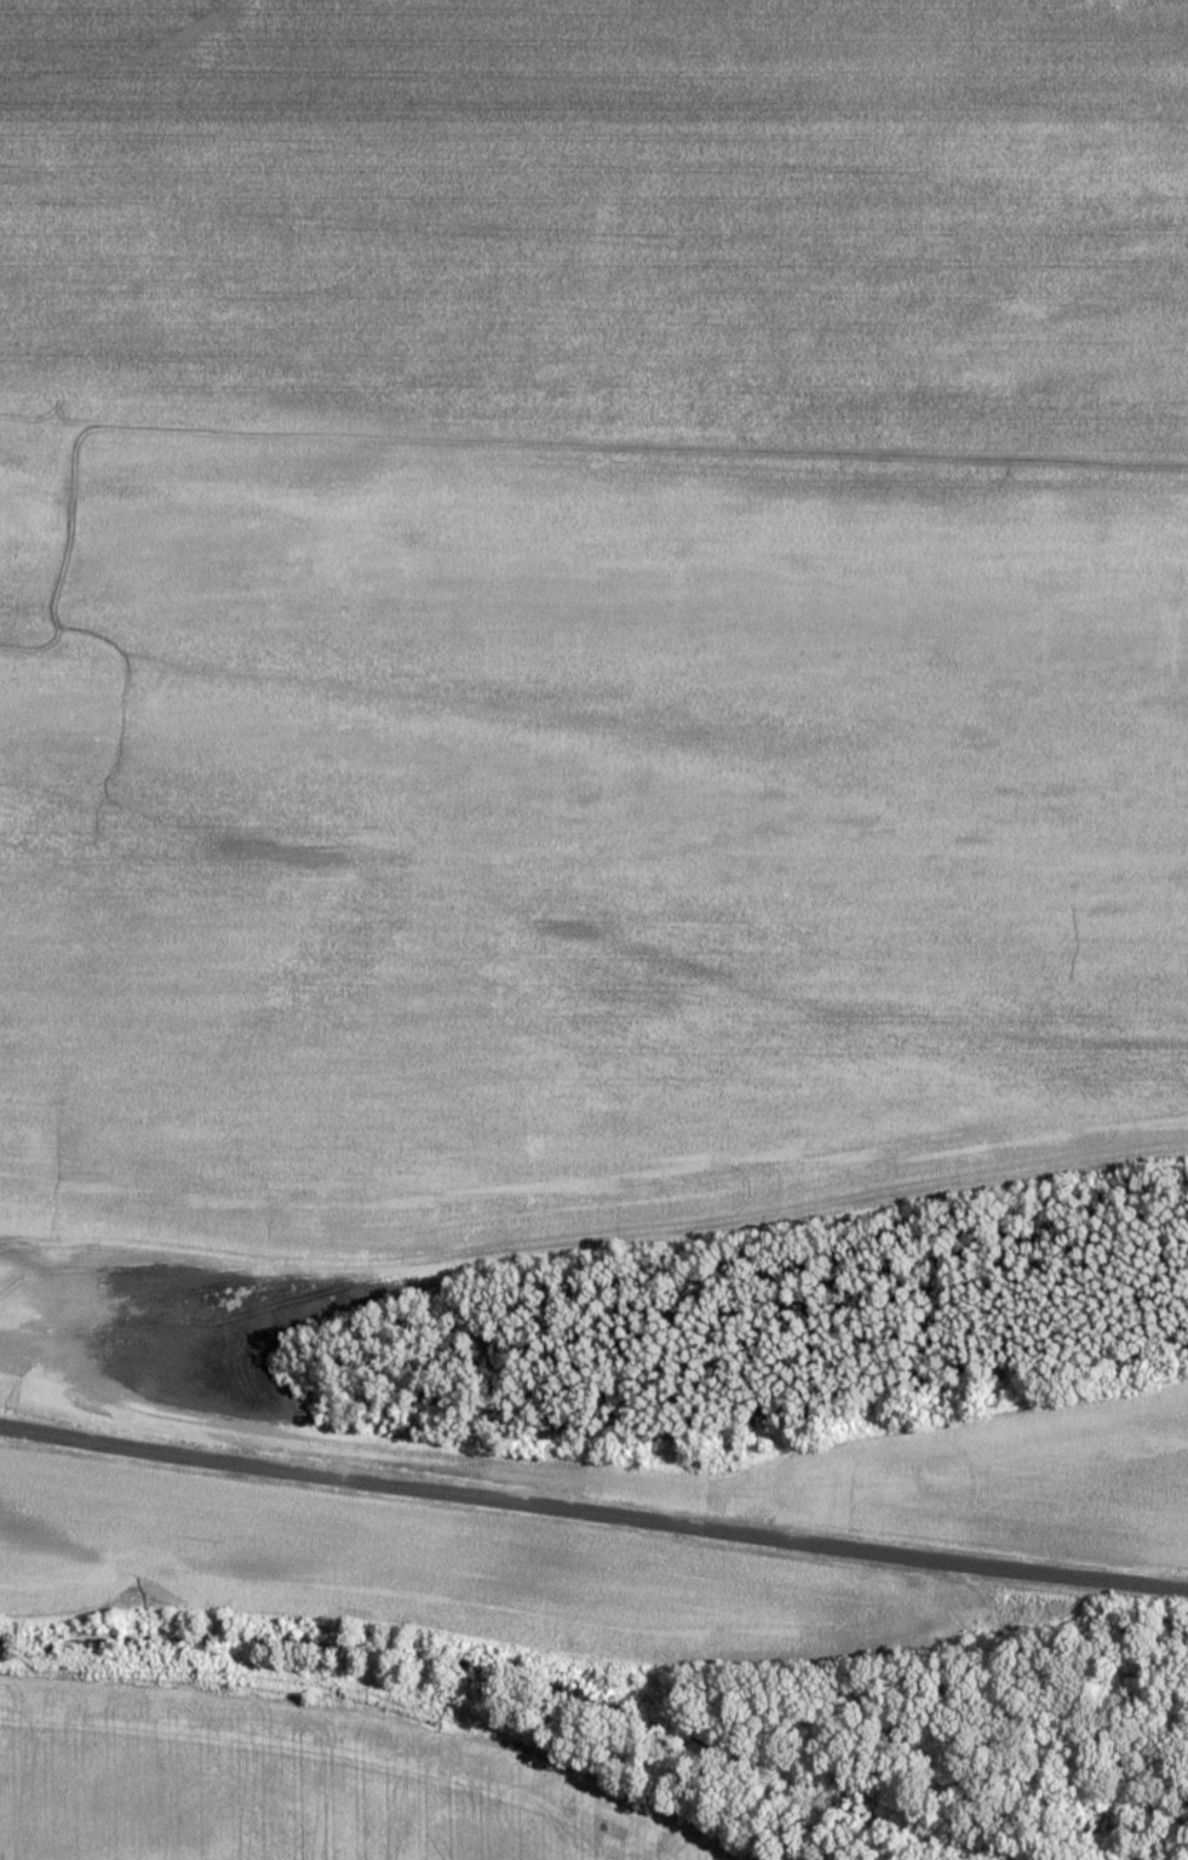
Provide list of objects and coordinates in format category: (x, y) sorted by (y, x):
road: (592, 1512)

